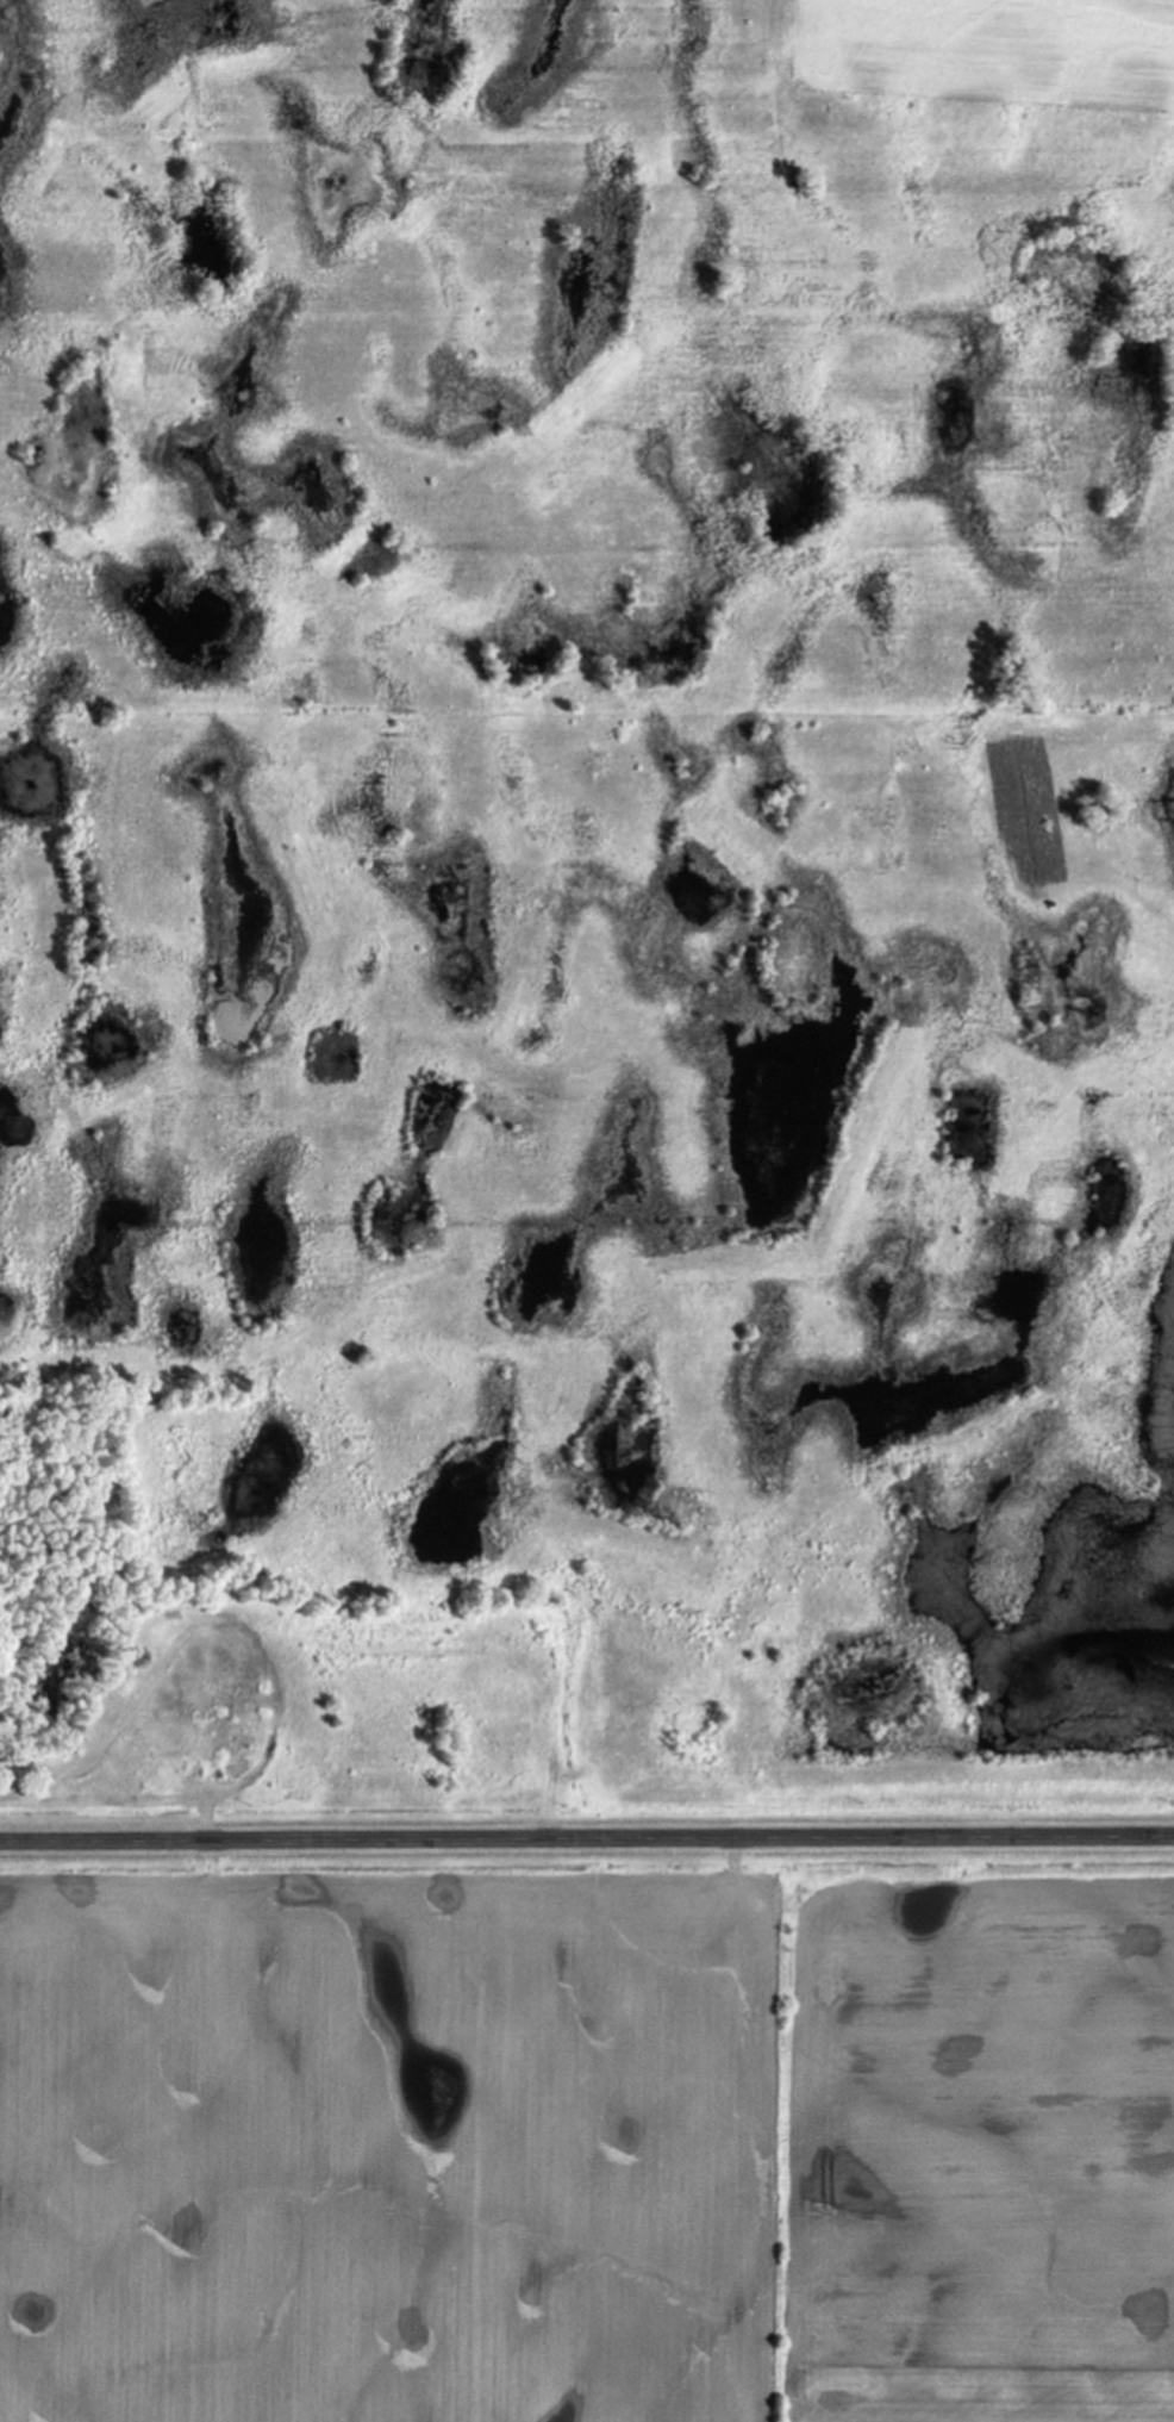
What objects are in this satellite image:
road: (587, 1836)

